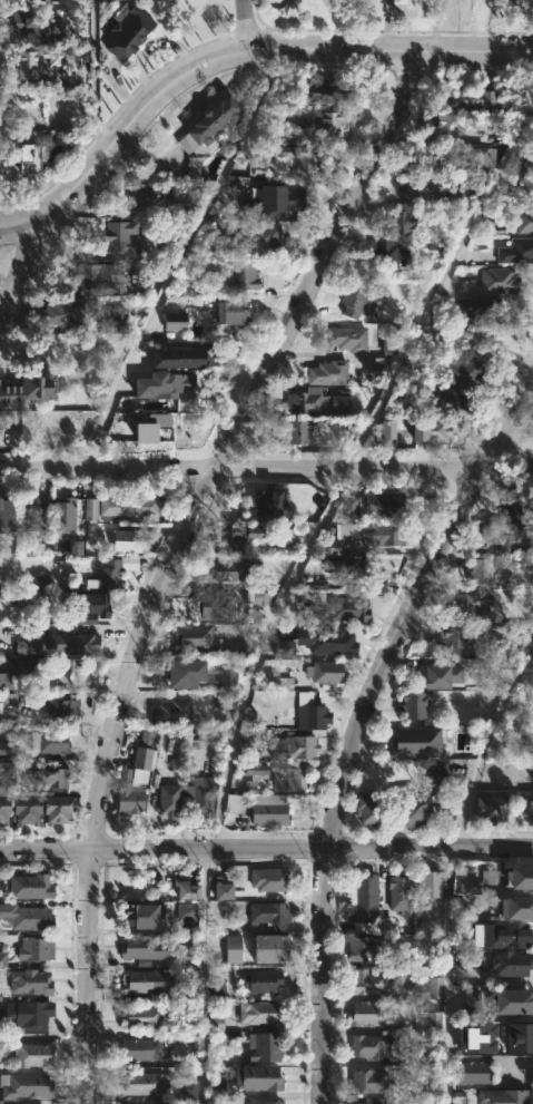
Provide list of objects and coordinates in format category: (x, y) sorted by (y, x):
building: (29, 0)
building: (399, 0)
building: (33, 26)
road: (246, 26)
building: (124, 29)
road: (233, 55)
building: (33, 61)
road: (92, 75)
building: (318, 92)
building: (470, 96)
building: (320, 120)
building: (441, 121)
building: (207, 126)
building: (24, 156)
building: (302, 157)
building: (477, 158)
building: (194, 166)
building: (527, 184)
building: (420, 186)
building: (463, 188)
building: (146, 196)
building: (278, 199)
building: (523, 218)
building: (398, 221)
building: (217, 229)
building: (118, 235)
building: (264, 237)
building: (168, 250)
building: (516, 250)
building: (384, 251)
road: (29, 253)
road: (179, 256)
building: (244, 275)
building: (91, 276)
building: (497, 280)
building: (357, 302)
building: (480, 309)
building: (61, 311)
building: (231, 311)
building: (115, 317)
building: (174, 321)
building: (346, 338)
building: (451, 339)
building: (389, 342)
building: (184, 356)
building: (382, 364)
building: (461, 371)
building: (326, 373)
building: (167, 383)
building: (27, 390)
building: (453, 400)
building: (308, 401)
building: (71, 420)
building: (148, 427)
building: (296, 429)
building: (428, 429)
building: (388, 432)
road: (266, 466)
building: (267, 502)
building: (349, 504)
building: (381, 504)
building: (515, 505)
building: (118, 507)
building: (61, 512)
building: (29, 514)
building: (3, 516)
building: (368, 533)
building: (256, 536)
building: (510, 537)
building: (125, 539)
building: (77, 548)
road: (178, 551)
building: (353, 567)
building: (234, 569)
building: (113, 570)
building: (481, 571)
building: (38, 580)
road: (289, 582)
building: (260, 597)
building: (90, 604)
building: (472, 604)
building: (213, 606)
building: (343, 609)
building: (193, 637)
building: (454, 639)
building: (335, 642)
building: (71, 643)
building: (27, 646)
building: (283, 646)
building: (172, 668)
building: (325, 672)
building: (60, 673)
building: (80, 674)
building: (19, 675)
building: (297, 675)
building: (441, 675)
building: (227, 677)
building: (8, 700)
building: (224, 701)
building: (61, 704)
building: (413, 705)
building: (169, 711)
road: (359, 715)
building: (307, 717)
building: (413, 741)
building: (47, 742)
building: (3, 748)
building: (293, 748)
building: (256, 770)
building: (3, 772)
building: (46, 775)
building: (286, 778)
building: (198, 795)
building: (127, 798)
building: (167, 800)
building: (234, 803)
building: (24, 807)
building: (3, 808)
building: (57, 809)
building: (268, 809)
building: (491, 809)
building: (372, 811)
building: (530, 811)
building: (409, 813)
road: (266, 848)
road: (451, 867)
building: (519, 873)
building: (488, 877)
building: (268, 878)
building: (428, 882)
building: (28, 883)
building: (468, 887)
building: (187, 890)
building: (223, 891)
building: (399, 893)
building: (366, 903)
building: (514, 905)
building: (466, 906)
building: (186, 911)
building: (140, 916)
building: (268, 916)
building: (29, 918)
building: (502, 934)
building: (31, 946)
building: (144, 946)
building: (268, 948)
building: (366, 948)
building: (231, 949)
building: (2, 959)
building: (468, 961)
building: (510, 963)
building: (154, 978)
building: (31, 981)
building: (259, 981)
building: (368, 983)
building: (428, 988)
building: (0, 996)
building: (472, 997)
building: (513, 1002)
building: (261, 1014)
building: (365, 1014)
building: (27, 1016)
building: (139, 1017)
building: (427, 1022)
building: (515, 1036)
building: (457, 1037)
building: (476, 1037)
building: (374, 1044)
building: (265, 1047)
building: (142, 1048)
building: (31, 1054)
building: (471, 1073)
building: (257, 1077)
building: (366, 1081)
building: (141, 1082)
building: (24, 1085)
building: (189, 1087)
building: (502, 1096)
building: (376, 1100)
building: (259, 1102)
building: (145, 1103)

